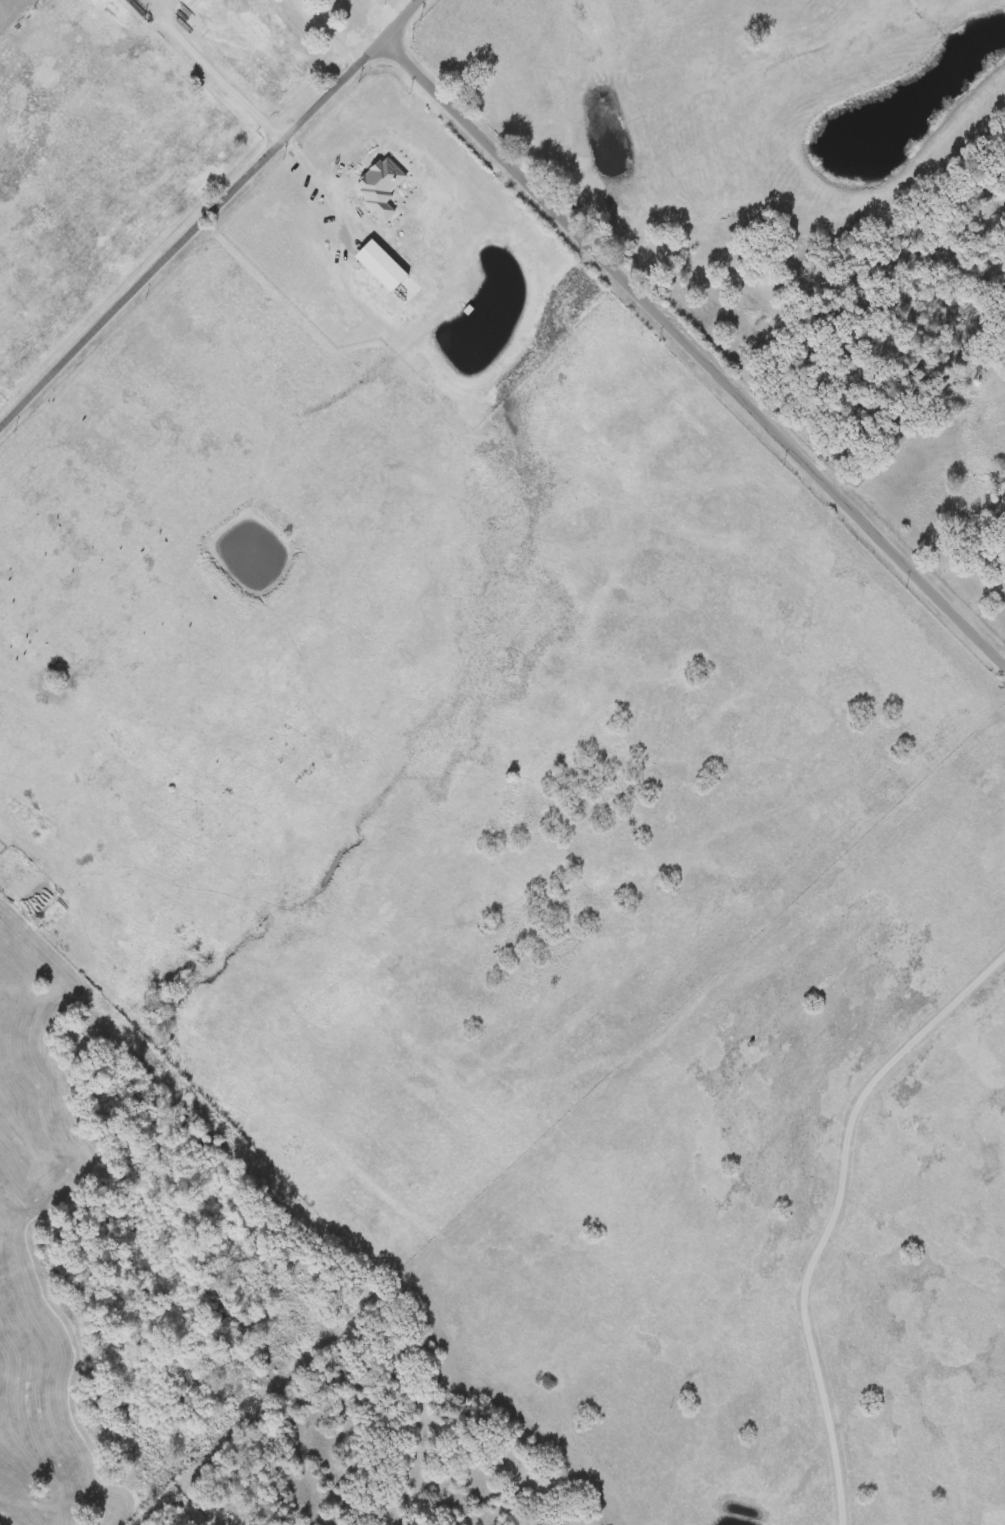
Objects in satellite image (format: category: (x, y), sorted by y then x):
road: (327, 33)
road: (218, 69)
road: (319, 178)
road: (209, 213)
road: (694, 351)
road: (838, 1216)

